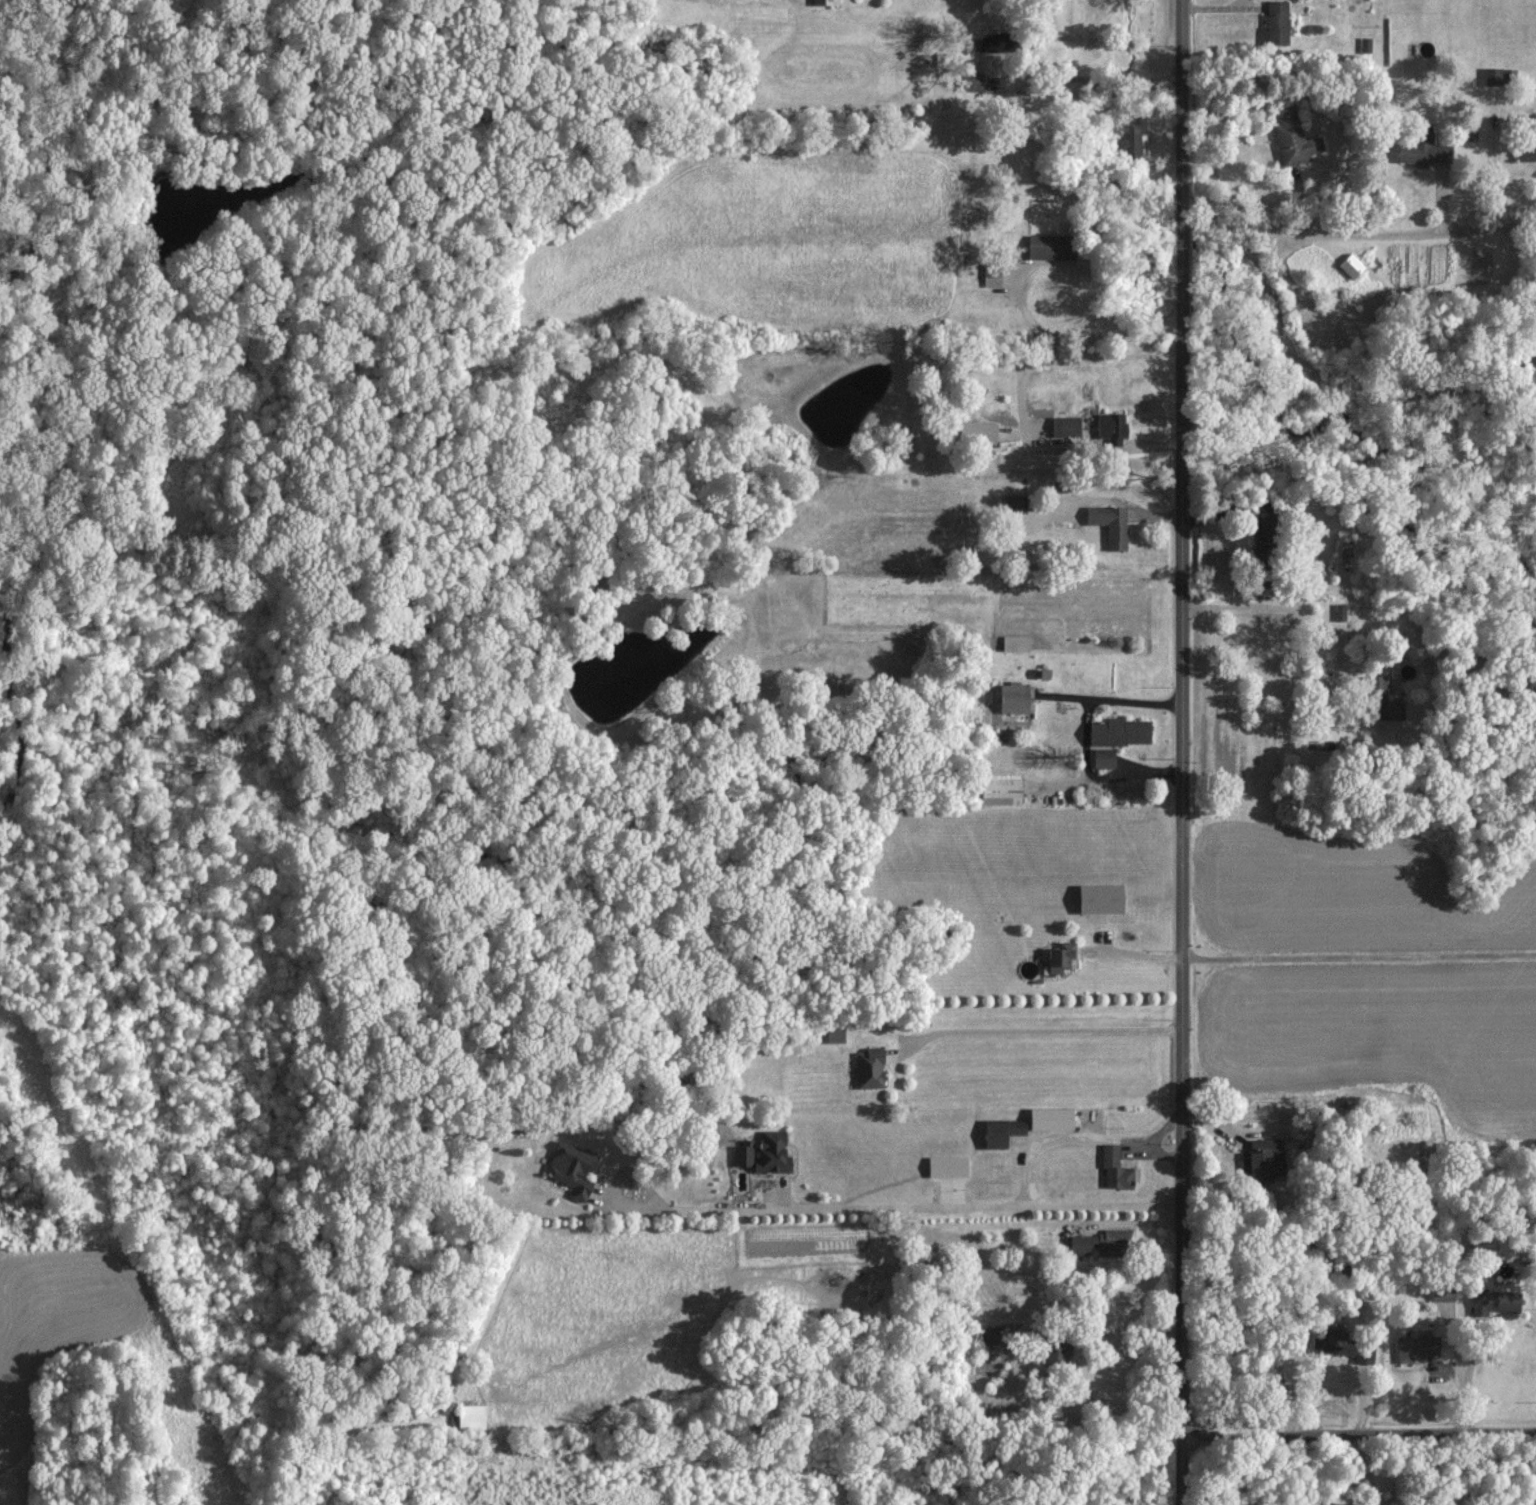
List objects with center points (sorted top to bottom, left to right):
building: (823, 1)
building: (1275, 21)
building: (1365, 43)
building: (1491, 74)
building: (970, 80)
building: (1467, 133)
building: (1129, 136)
building: (1291, 136)
building: (1415, 149)
building: (1525, 149)
road: (1360, 223)
building: (1046, 246)
building: (1350, 265)
road: (1021, 399)
building: (1063, 426)
building: (1110, 426)
building: (973, 430)
building: (1010, 501)
building: (1108, 523)
building: (1339, 611)
building: (1380, 689)
building: (1013, 697)
road: (1117, 701)
building: (1117, 731)
road: (1184, 752)
building: (1101, 757)
road: (1112, 776)
building: (998, 790)
building: (1096, 897)
building: (1058, 957)
road: (1359, 958)
road: (1043, 1030)
building: (868, 1068)
building: (1048, 1118)
building: (999, 1131)
road: (1080, 1136)
building: (762, 1152)
building: (1262, 1159)
building: (945, 1166)
building: (570, 1167)
building: (1113, 1168)
road: (901, 1204)
building: (1098, 1241)
building: (1441, 1292)
building: (1493, 1300)
building: (1330, 1339)
building: (1415, 1346)
building: (1363, 1350)
building: (1053, 1351)
building: (469, 1415)
road: (1360, 1436)

